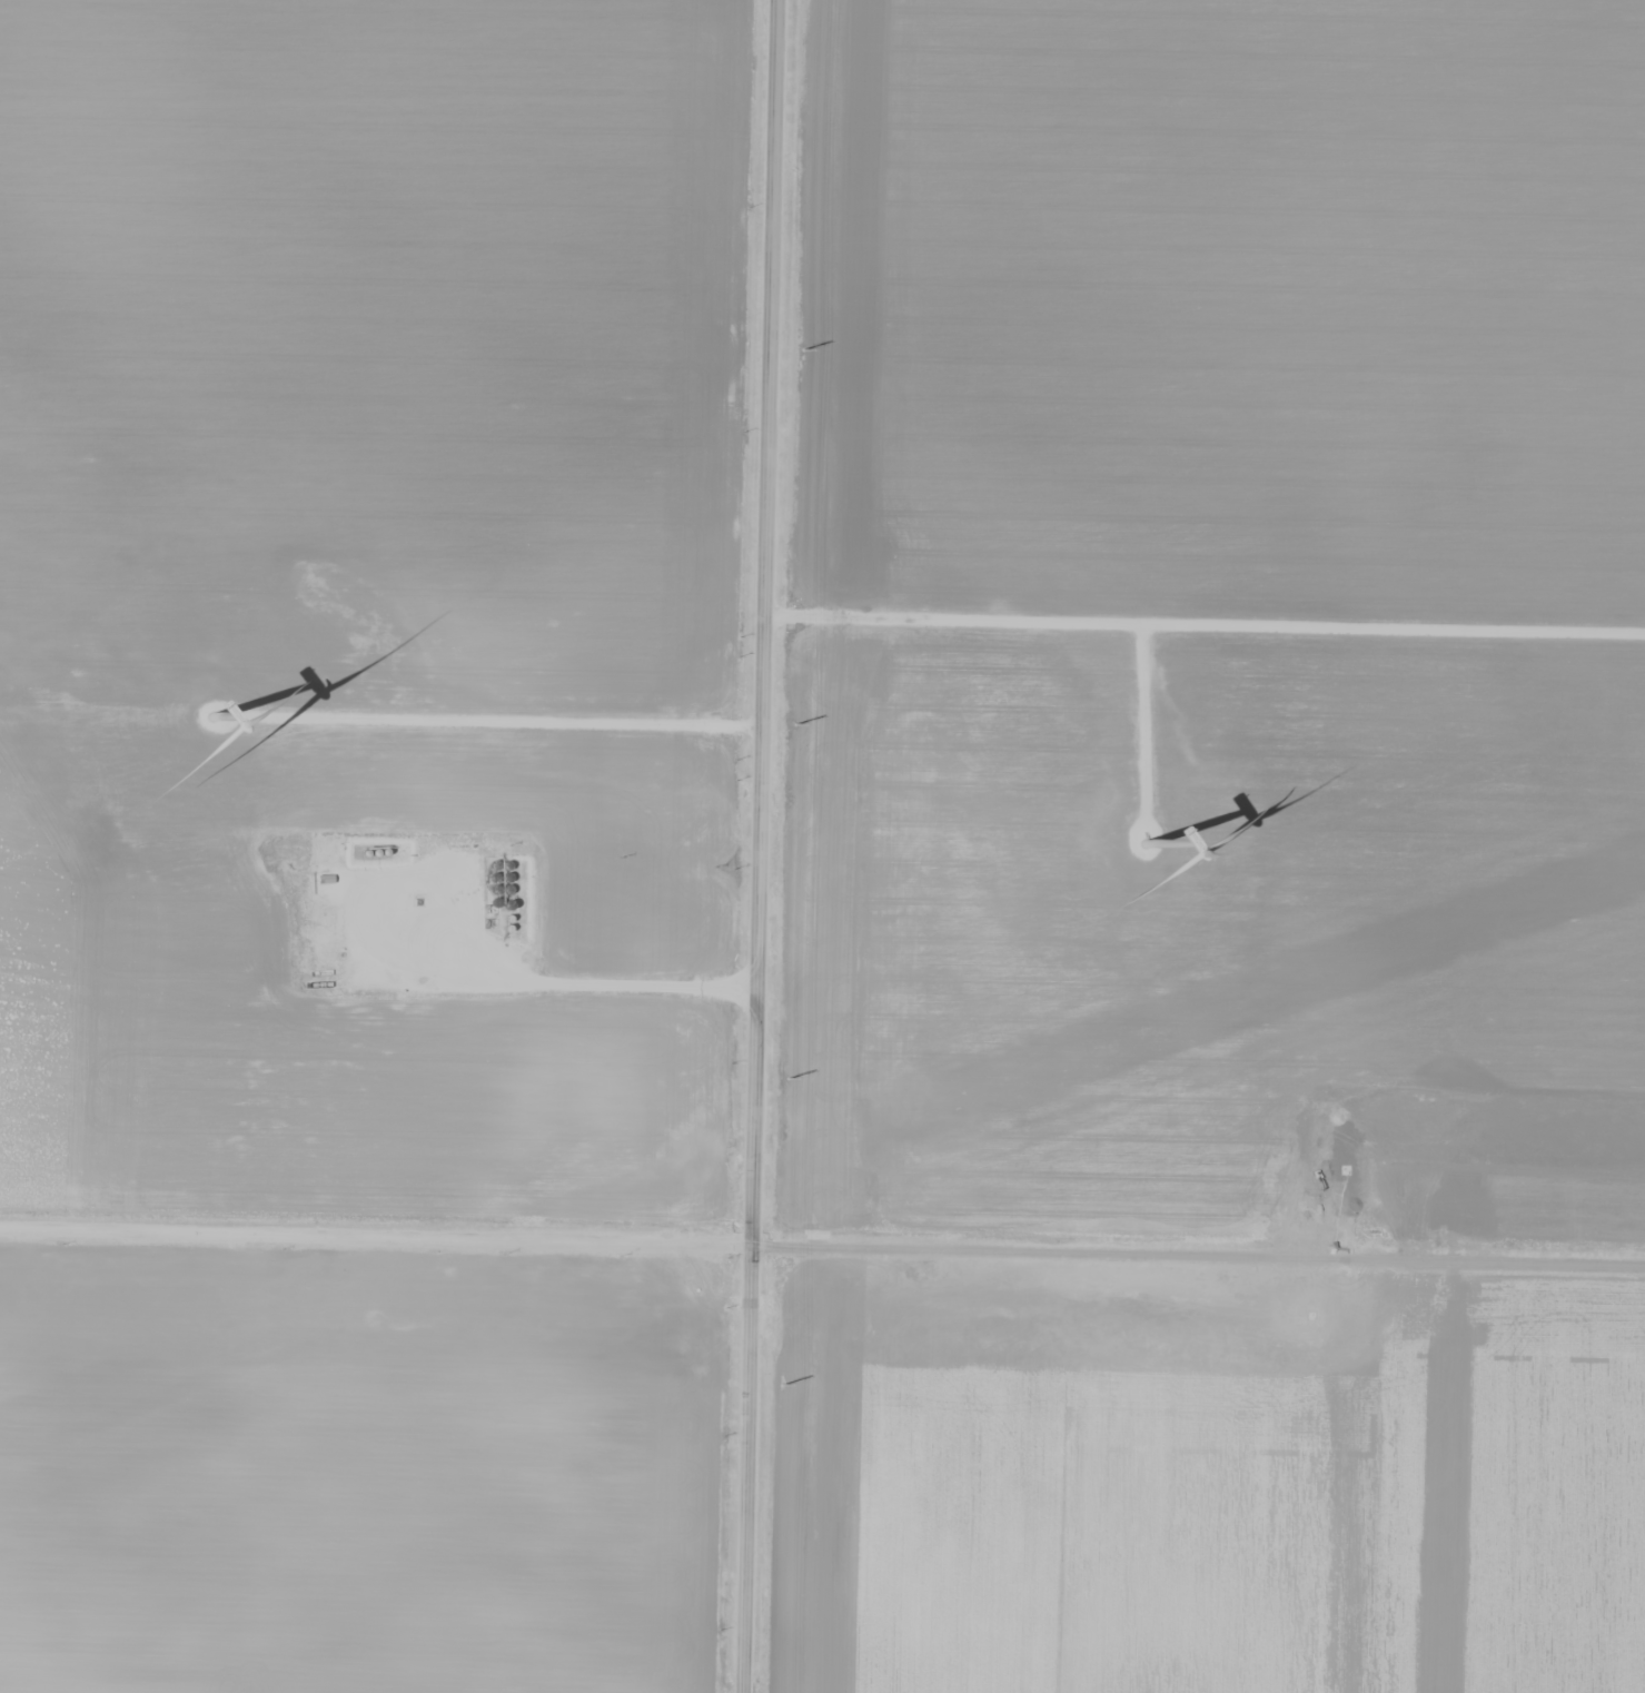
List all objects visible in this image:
power tower: (801, 350)
wind turbine: (215, 713)
power tower: (792, 727)
wind turbine: (1141, 840)
road: (762, 846)
road: (529, 986)
power tower: (786, 1080)
road: (822, 1246)
power tower: (783, 1384)

